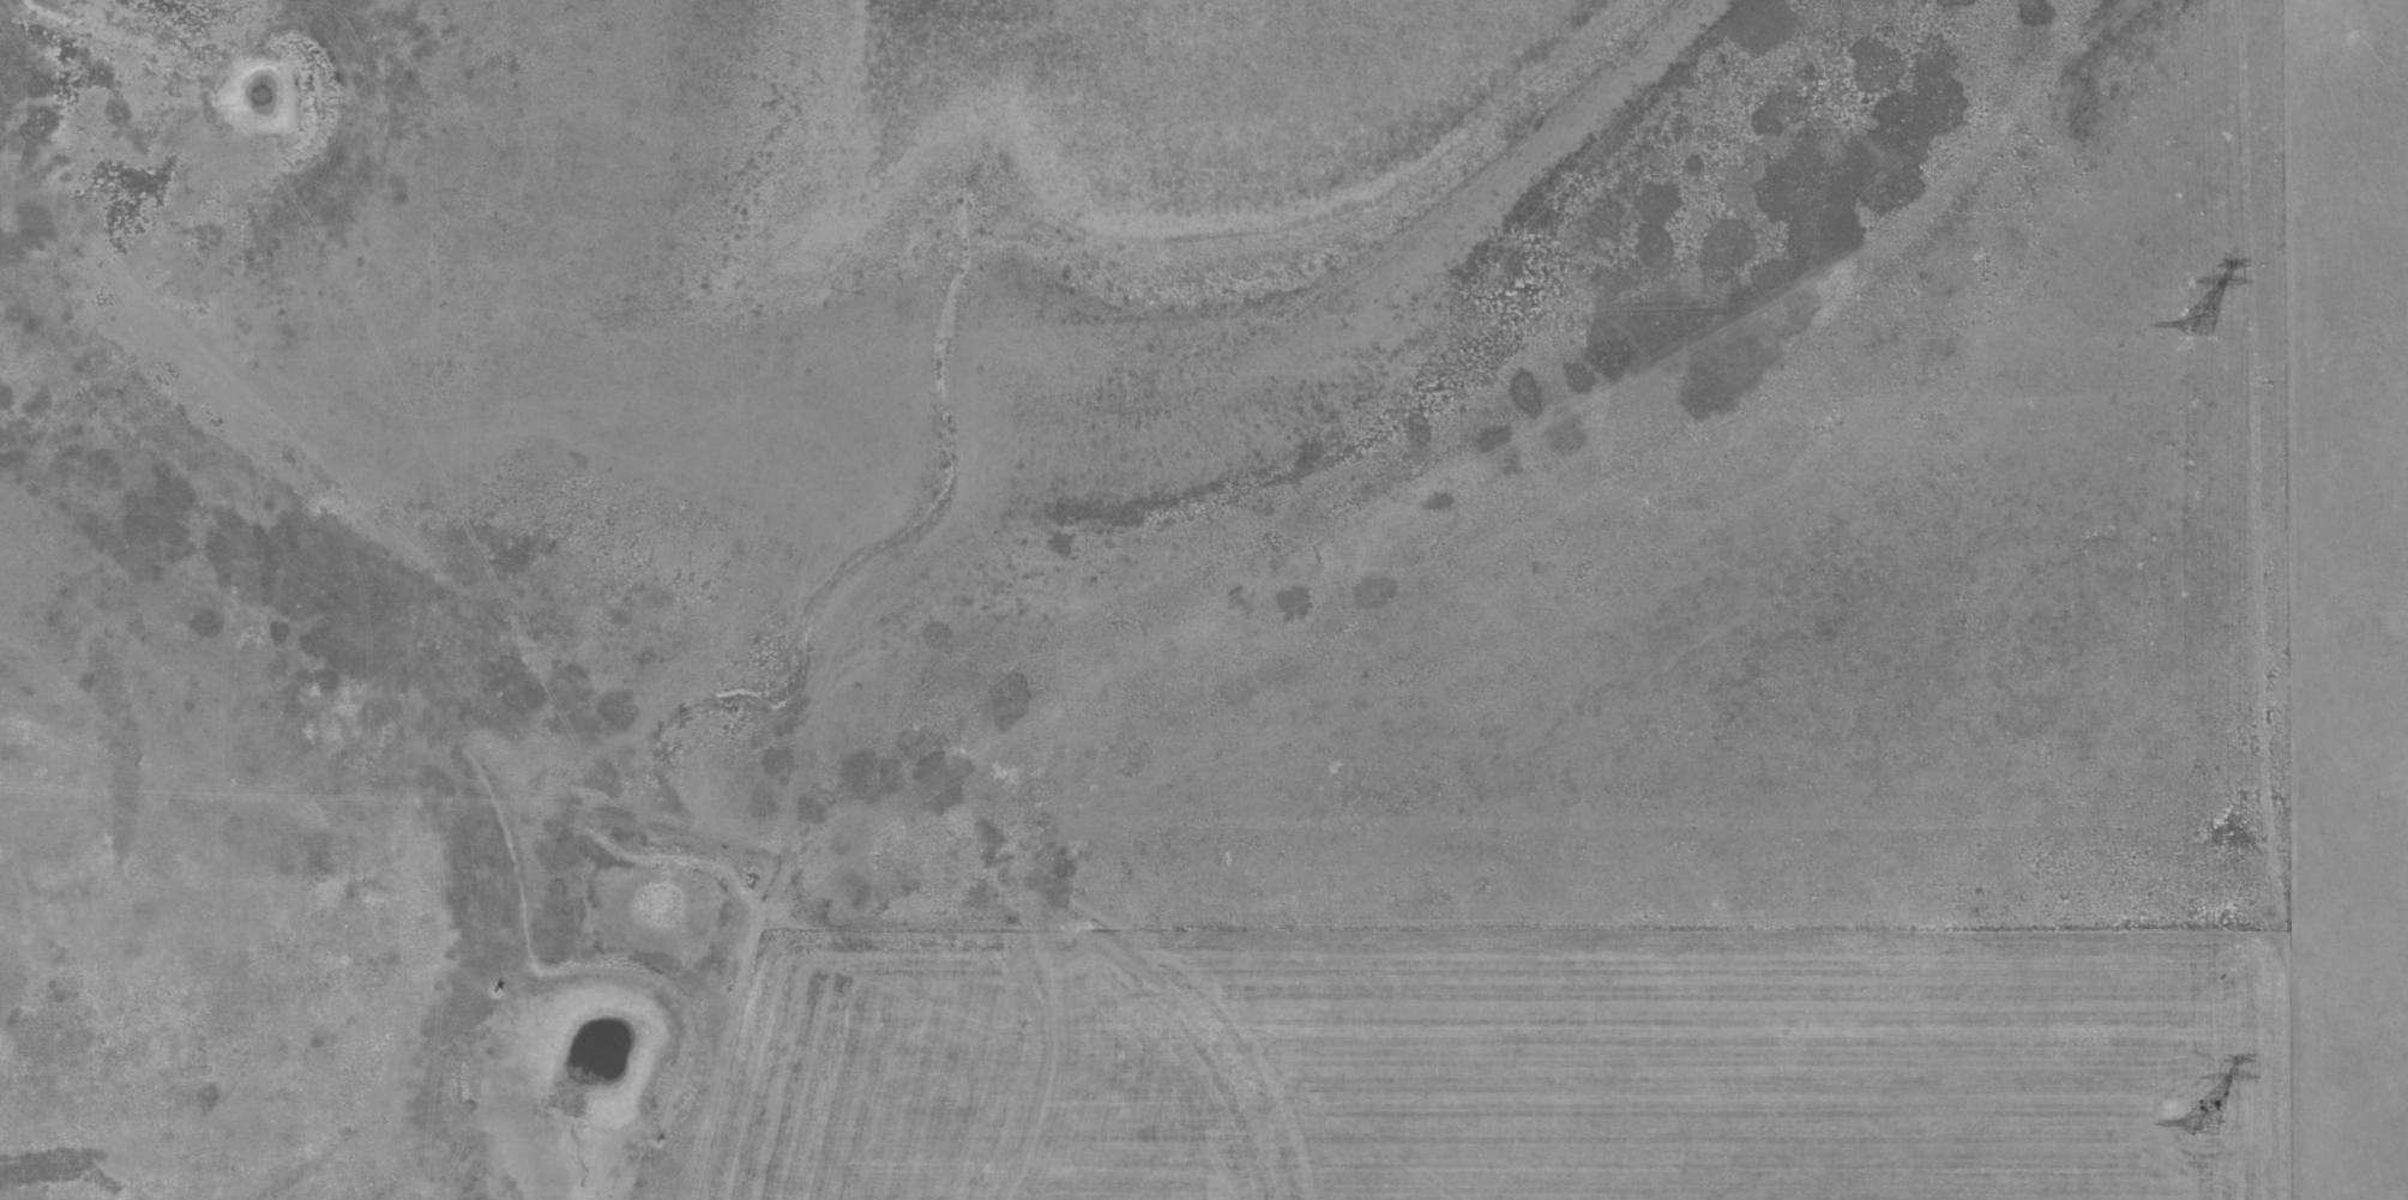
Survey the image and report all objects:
power tower: (2198, 324)
power tower: (2202, 1123)

